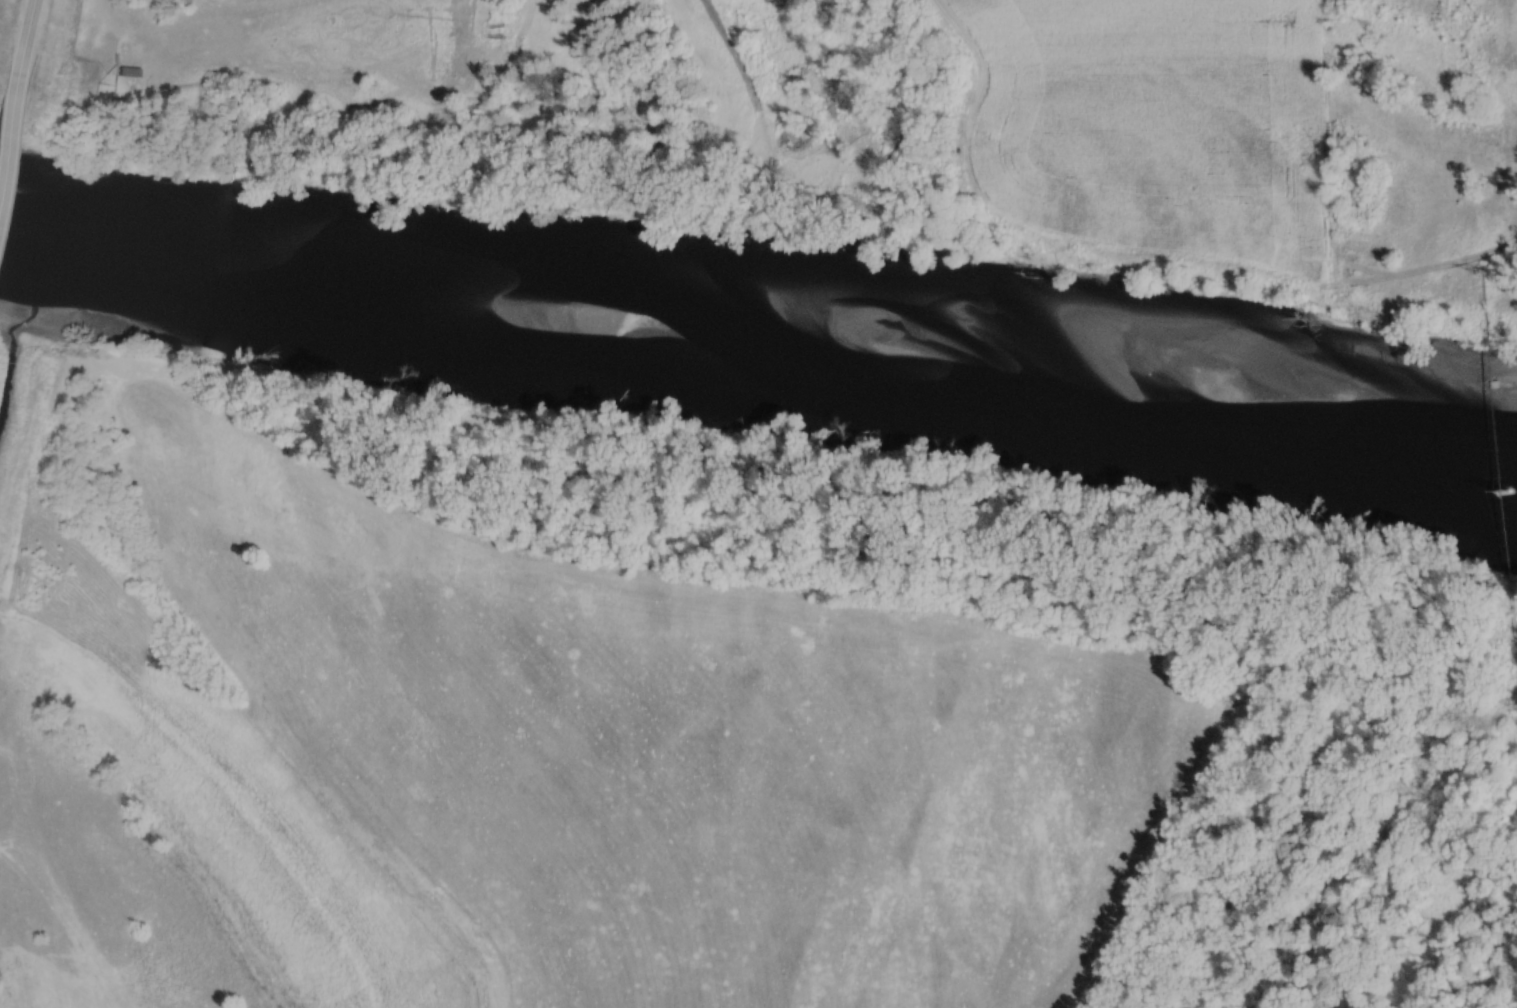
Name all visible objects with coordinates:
road: (21, 44)
building: (130, 73)
road: (6, 115)
river: (774, 282)

